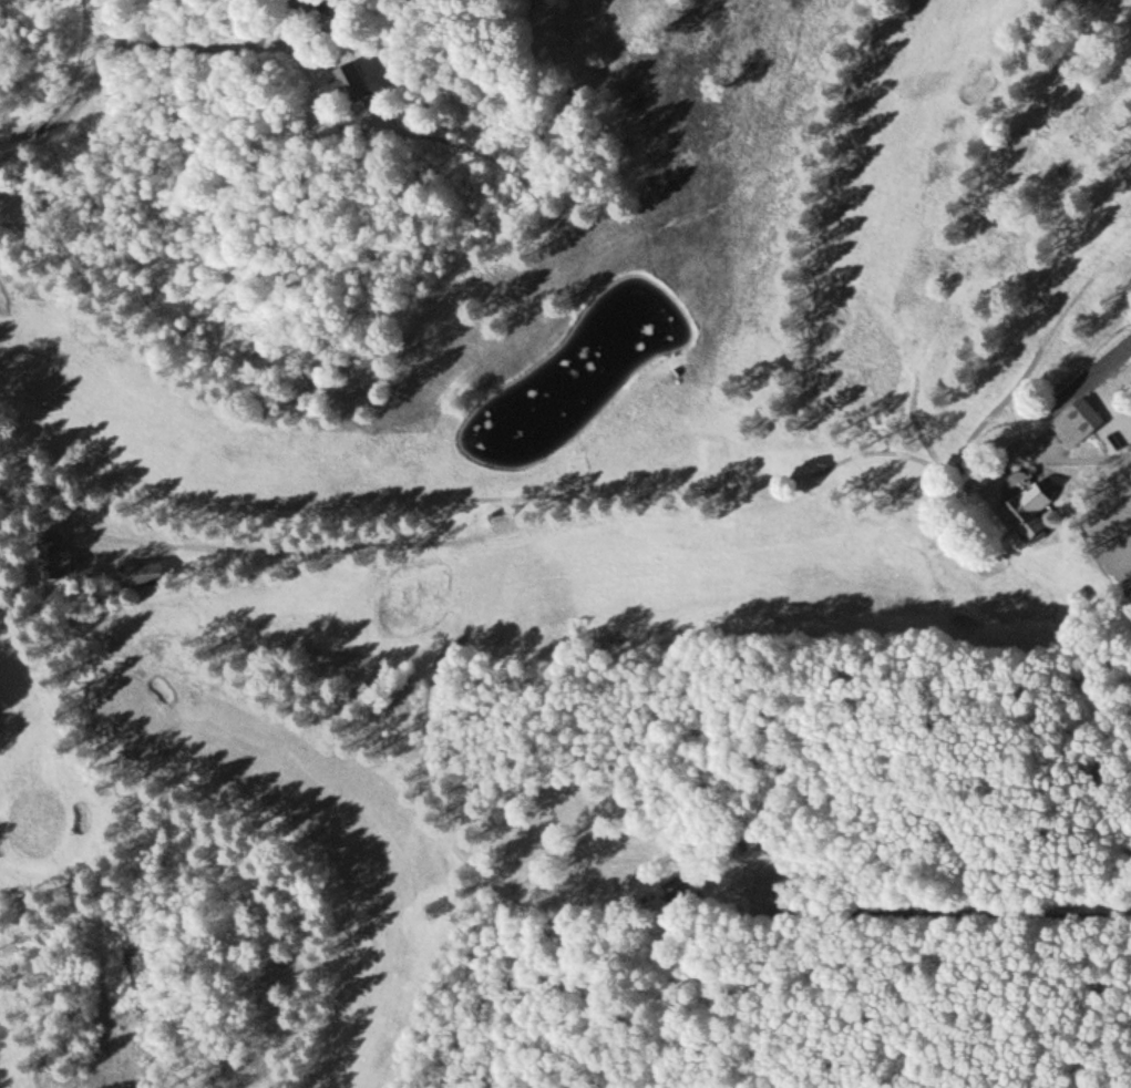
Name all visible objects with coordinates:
building: (357, 79)
road: (91, 100)
building: (1081, 422)
road: (33, 494)
building: (1036, 509)
road: (1112, 523)
park: (528, 546)
building: (48, 551)
building: (147, 572)
building: (693, 887)

